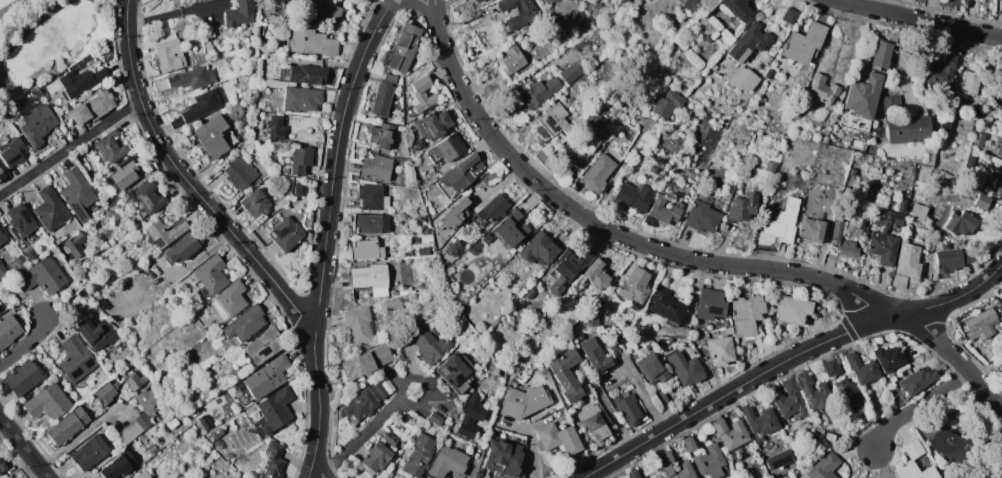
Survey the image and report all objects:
building: (478, 1)
building: (550, 1)
park: (3, 2)
building: (625, 3)
road: (390, 5)
road: (416, 5)
road: (11, 6)
building: (691, 7)
building: (737, 9)
building: (320, 11)
road: (177, 13)
building: (241, 13)
road: (436, 13)
building: (527, 16)
building: (789, 16)
road: (918, 16)
road: (34, 28)
building: (711, 30)
building: (247, 33)
building: (213, 41)
park: (47, 42)
building: (311, 42)
building: (748, 43)
building: (803, 43)
building: (402, 48)
building: (645, 48)
building: (881, 54)
building: (169, 56)
building: (625, 56)
building: (511, 60)
building: (575, 70)
building: (940, 71)
building: (769, 73)
building: (304, 74)
building: (1000, 75)
building: (187, 79)
building: (743, 79)
building: (80, 82)
building: (969, 83)
building: (1000, 83)
building: (822, 89)
building: (539, 93)
building: (36, 94)
building: (422, 95)
building: (382, 96)
building: (1000, 98)
building: (300, 99)
building: (52, 102)
building: (861, 102)
building: (665, 103)
building: (203, 105)
building: (93, 107)
road: (118, 115)
building: (550, 123)
building: (903, 123)
building: (38, 124)
building: (435, 124)
building: (276, 127)
building: (666, 130)
building: (593, 134)
building: (216, 136)
building: (383, 137)
building: (979, 139)
building: (109, 147)
building: (446, 148)
building: (999, 151)
building: (14, 152)
building: (297, 160)
road: (48, 163)
building: (980, 163)
building: (771, 165)
building: (376, 168)
building: (431, 169)
building: (852, 172)
building: (974, 172)
building: (124, 173)
building: (240, 173)
building: (597, 173)
building: (459, 174)
building: (1, 176)
building: (431, 176)
road: (188, 180)
building: (258, 181)
building: (884, 183)
building: (998, 187)
building: (301, 189)
building: (78, 193)
building: (632, 196)
building: (150, 198)
building: (372, 198)
building: (113, 199)
building: (830, 201)
building: (983, 201)
building: (255, 202)
building: (902, 205)
building: (742, 207)
building: (95, 209)
building: (490, 210)
building: (51, 211)
building: (662, 211)
building: (918, 212)
building: (702, 214)
building: (451, 217)
building: (21, 218)
building: (420, 218)
building: (783, 221)
building: (368, 223)
building: (960, 223)
building: (811, 229)
road: (328, 230)
building: (510, 230)
building: (422, 231)
building: (837, 231)
building: (165, 232)
building: (287, 234)
building: (3, 237)
building: (884, 237)
building: (76, 244)
building: (183, 247)
building: (453, 248)
building: (538, 249)
building: (848, 249)
building: (365, 250)
building: (512, 250)
building: (446, 253)
building: (863, 253)
road: (693, 257)
building: (951, 258)
building: (908, 259)
building: (21, 261)
building: (568, 269)
building: (3, 272)
building: (210, 275)
building: (43, 276)
building: (597, 276)
building: (371, 278)
building: (899, 281)
building: (635, 286)
building: (411, 291)
building: (403, 292)
building: (530, 293)
building: (229, 300)
building: (198, 302)
building: (102, 304)
building: (393, 305)
building: (710, 305)
building: (1000, 306)
building: (666, 307)
building: (792, 310)
building: (1001, 313)
building: (204, 315)
building: (746, 315)
building: (190, 319)
building: (592, 321)
building: (244, 324)
building: (979, 324)
building: (358, 325)
building: (8, 331)
building: (98, 335)
road: (26, 343)
building: (263, 346)
building: (430, 346)
building: (721, 351)
building: (596, 354)
building: (131, 356)
road: (788, 358)
building: (888, 358)
building: (1001, 358)
building: (76, 359)
building: (366, 362)
building: (1001, 363)
building: (1001, 367)
building: (652, 368)
building: (830, 368)
building: (861, 368)
building: (688, 371)
building: (455, 373)
building: (566, 374)
building: (267, 377)
building: (22, 379)
road: (422, 379)
building: (601, 379)
building: (135, 381)
building: (915, 382)
building: (616, 390)
building: (814, 391)
building: (847, 391)
building: (106, 393)
building: (241, 394)
building: (150, 399)
building: (368, 399)
building: (790, 400)
building: (47, 402)
building: (524, 402)
road: (917, 404)
building: (276, 408)
building: (627, 408)
building: (471, 415)
building: (435, 419)
building: (760, 420)
building: (202, 423)
building: (593, 423)
building: (68, 426)
building: (134, 428)
building: (216, 433)
building: (730, 433)
road: (82, 434)
road: (363, 437)
building: (390, 438)
building: (558, 438)
building: (218, 444)
building: (689, 444)
building: (948, 444)
road: (25, 445)
building: (151, 448)
building: (89, 453)
building: (418, 456)
building: (502, 456)
building: (376, 458)
building: (272, 461)
building: (709, 461)
building: (446, 462)
building: (915, 463)
building: (118, 465)
building: (685, 466)
building: (824, 466)
building: (2, 467)
road: (311, 469)
road: (318, 469)
building: (633, 473)
building: (18, 474)
building: (142, 474)
building: (624, 476)
building: (657, 476)

